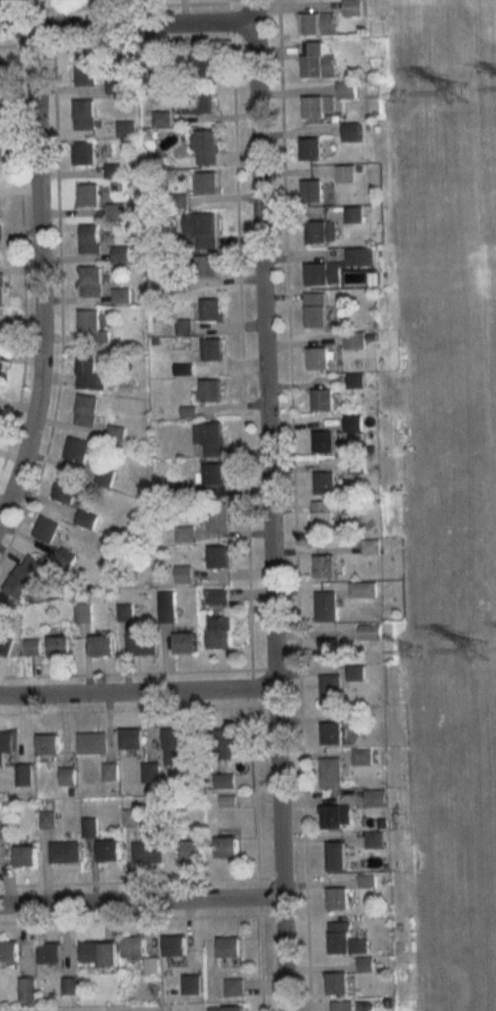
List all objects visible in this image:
building: (353, 7)
building: (318, 23)
road: (126, 26)
building: (317, 59)
building: (199, 66)
building: (86, 68)
building: (151, 71)
building: (114, 85)
power tower: (460, 90)
power tower: (400, 98)
building: (329, 100)
building: (198, 101)
building: (84, 113)
building: (125, 127)
building: (351, 129)
building: (206, 146)
building: (308, 147)
building: (84, 152)
building: (345, 173)
building: (208, 182)
building: (310, 188)
building: (89, 195)
building: (0, 207)
building: (354, 213)
building: (323, 228)
building: (201, 229)
building: (90, 238)
building: (0, 243)
building: (361, 254)
building: (206, 266)
building: (321, 272)
road: (39, 276)
building: (91, 281)
building: (2, 288)
building: (314, 307)
building: (212, 309)
building: (91, 327)
building: (2, 335)
building: (354, 341)
building: (213, 349)
building: (318, 356)
building: (89, 372)
building: (1, 374)
building: (355, 378)
building: (210, 390)
building: (322, 398)
building: (86, 409)
building: (352, 422)
building: (213, 439)
building: (323, 440)
building: (77, 449)
building: (213, 473)
building: (104, 476)
building: (324, 482)
building: (66, 490)
road: (268, 505)
building: (321, 513)
building: (217, 517)
building: (86, 518)
building: (47, 529)
building: (184, 533)
building: (373, 544)
building: (219, 556)
building: (65, 557)
building: (323, 564)
building: (183, 573)
building: (24, 576)
building: (362, 587)
building: (219, 594)
building: (324, 603)
building: (166, 606)
building: (125, 608)
building: (83, 612)
building: (371, 630)
building: (219, 632)
building: (141, 643)
building: (185, 643)
building: (5, 644)
building: (102, 645)
building: (31, 646)
building: (59, 646)
building: (330, 649)
power tower: (479, 654)
power tower: (413, 655)
building: (328, 690)
road: (137, 694)
building: (329, 729)
building: (132, 739)
building: (92, 743)
building: (7, 744)
building: (48, 744)
building: (222, 744)
building: (175, 747)
building: (362, 755)
building: (328, 770)
building: (109, 772)
building: (150, 773)
building: (23, 775)
building: (67, 776)
building: (225, 781)
building: (375, 794)
building: (227, 801)
building: (335, 813)
building: (131, 817)
building: (381, 818)
building: (48, 819)
building: (7, 827)
building: (373, 835)
building: (226, 847)
building: (109, 851)
building: (192, 851)
building: (65, 852)
building: (147, 853)
building: (335, 853)
building: (25, 856)
building: (366, 877)
building: (334, 895)
road: (141, 904)
building: (345, 940)
building: (172, 943)
building: (226, 945)
building: (8, 950)
building: (49, 950)
building: (97, 951)
building: (137, 953)
building: (364, 963)
building: (334, 981)
building: (189, 982)
building: (233, 984)
building: (70, 985)
building: (28, 988)
building: (341, 1005)
building: (225, 1006)

